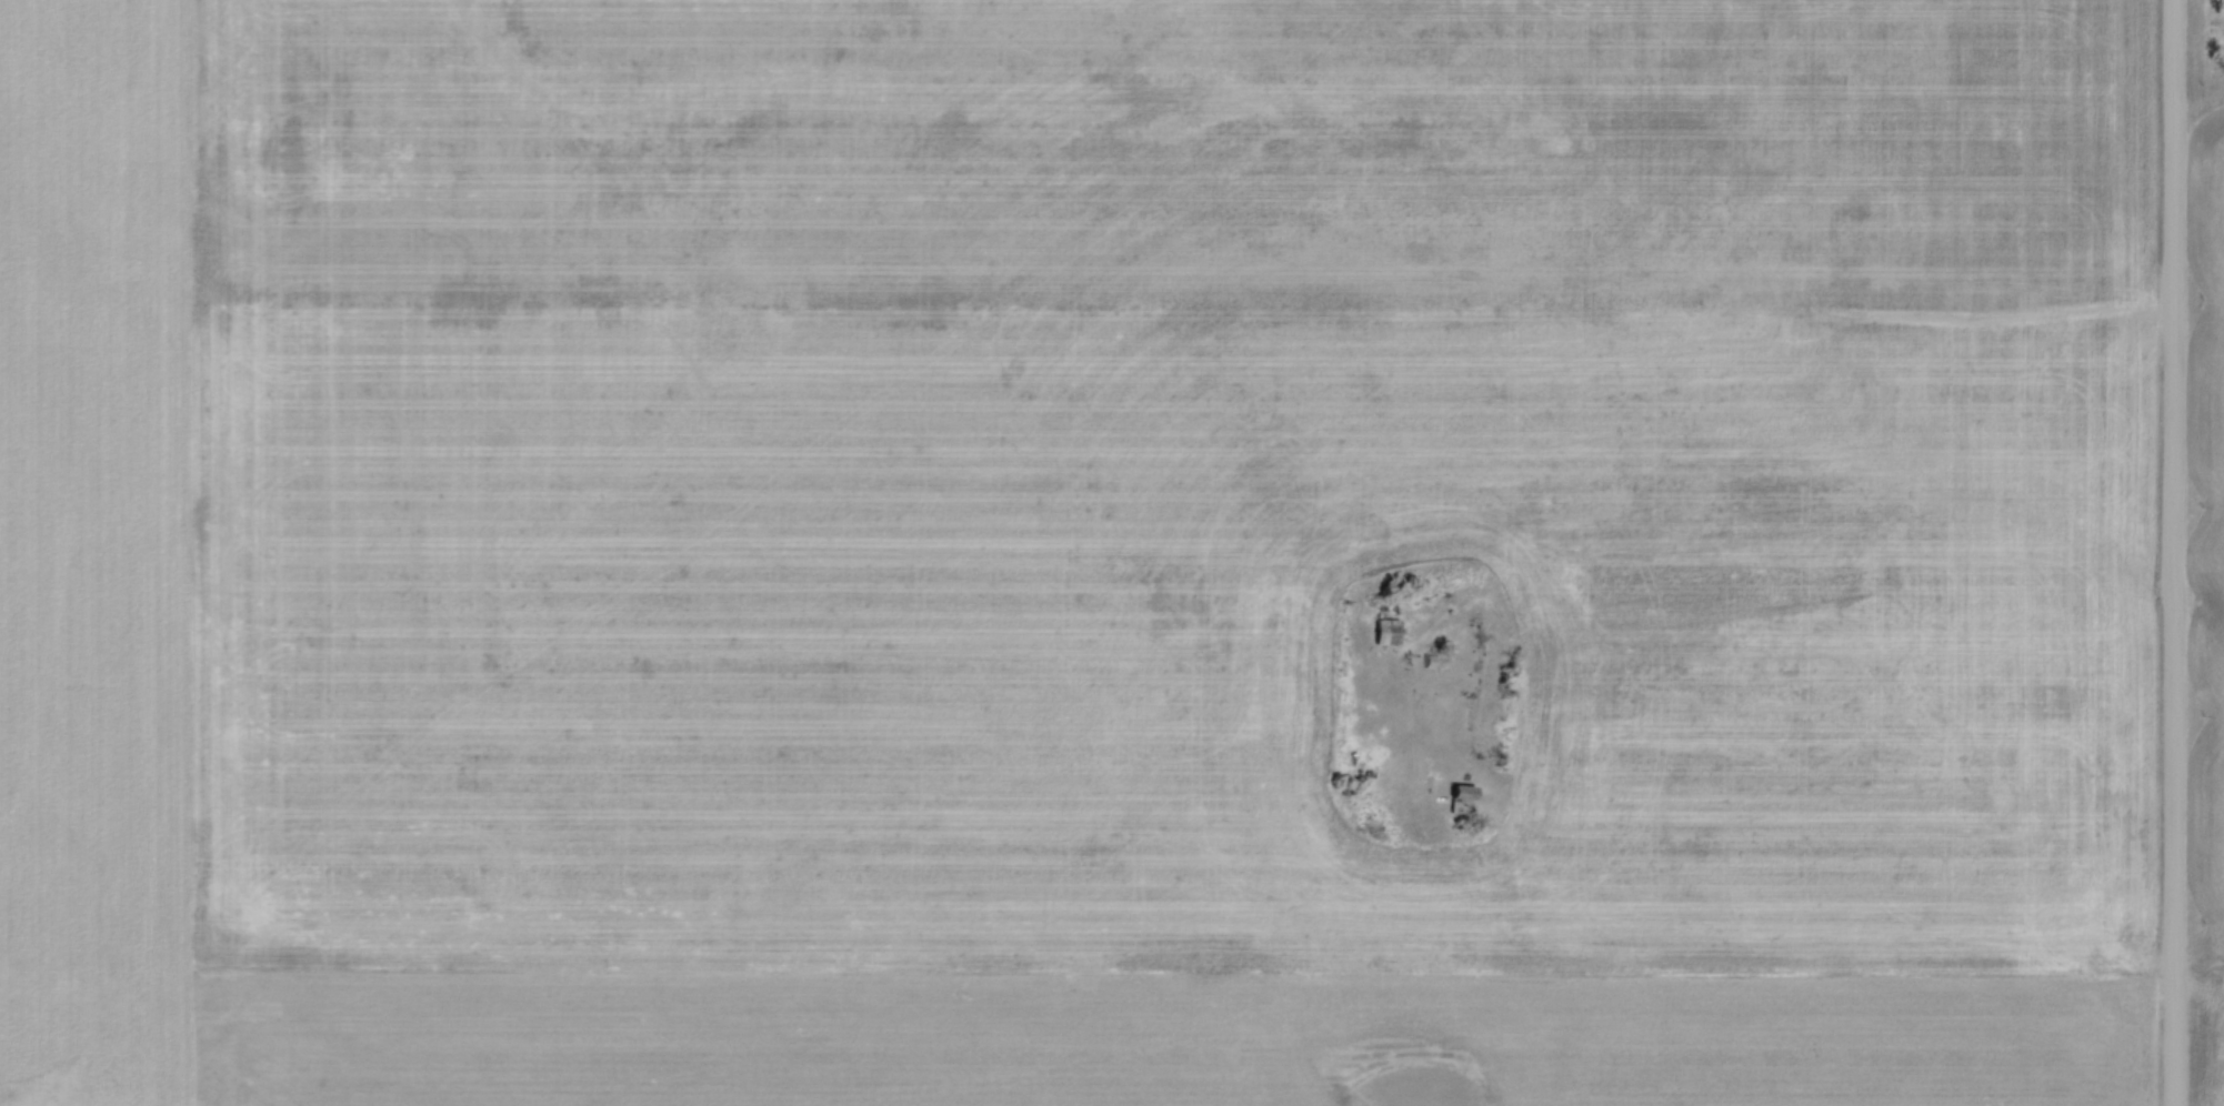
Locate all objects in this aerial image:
crop: (1076, 553)
road: (2172, 553)
crop: (2208, 609)
building: (1388, 633)
building: (1434, 661)
building: (1463, 796)

